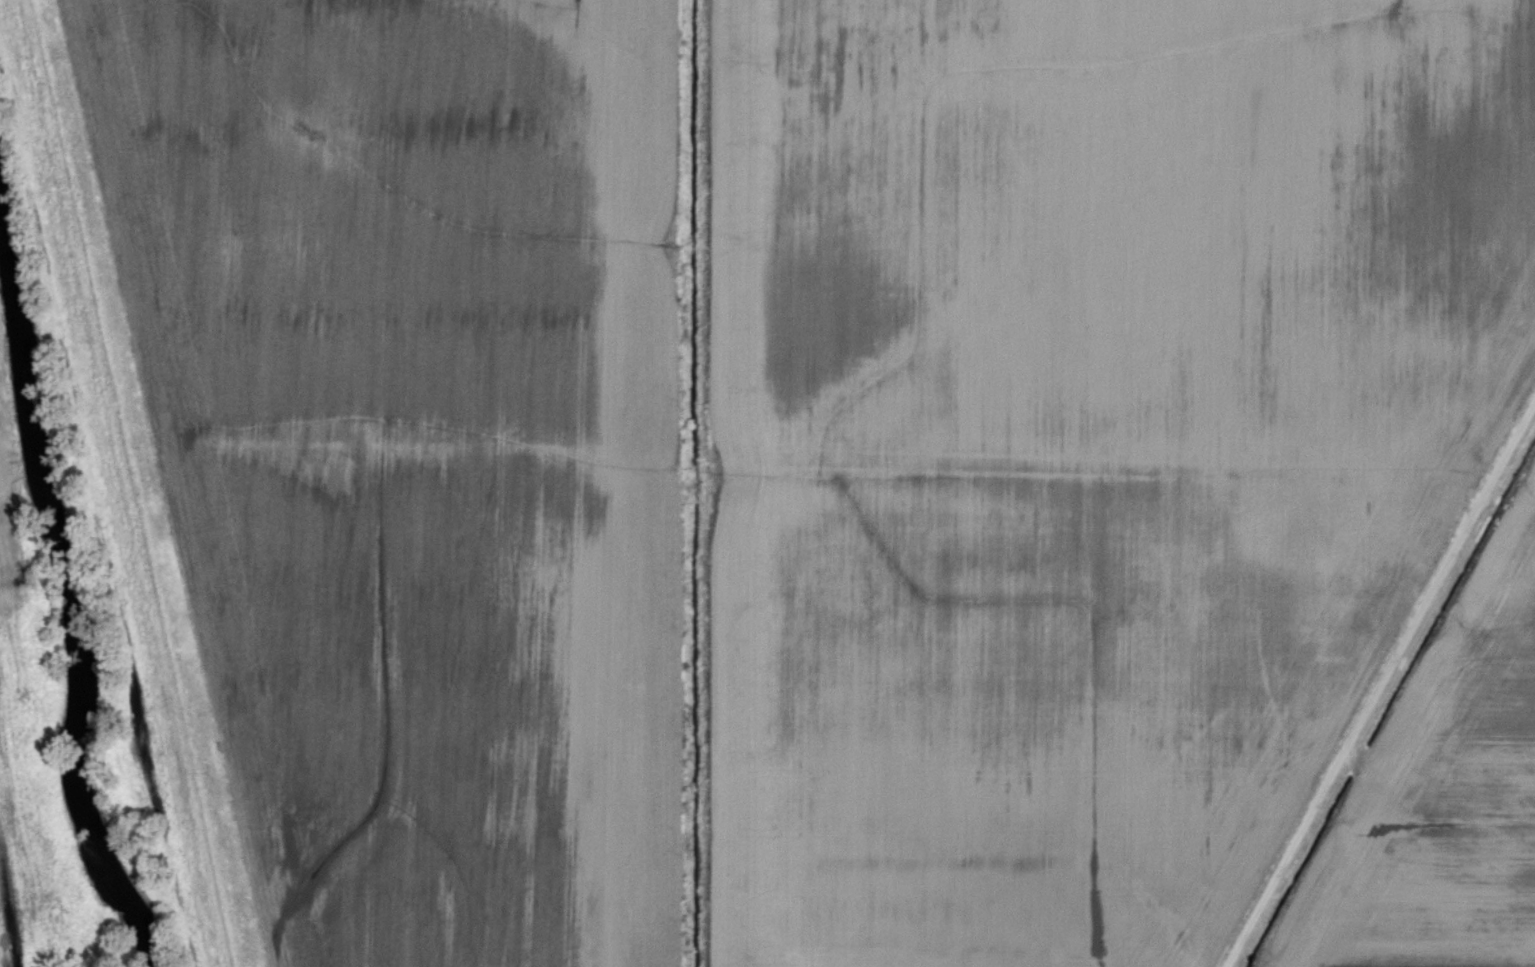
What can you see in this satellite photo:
road: (1355, 640)

